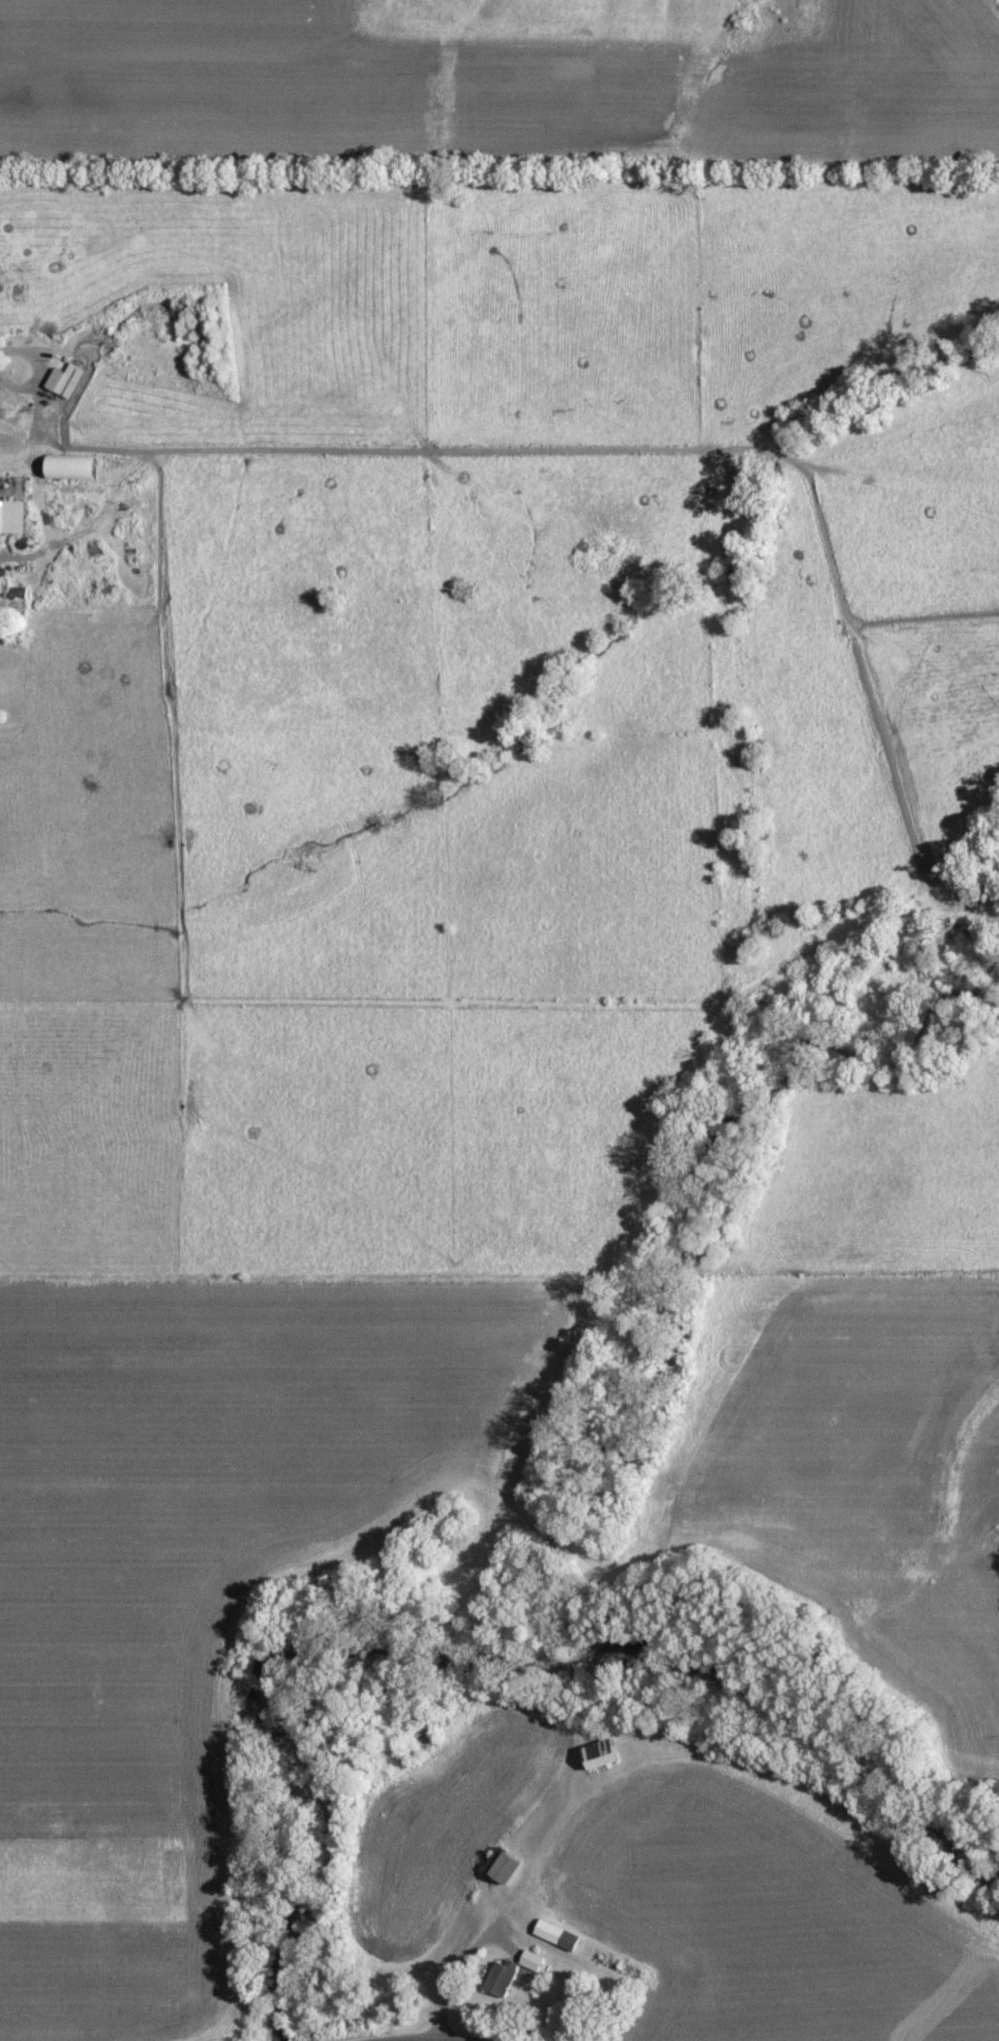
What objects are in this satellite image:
road: (37, 367)
building: (66, 381)
building: (71, 468)
building: (12, 518)
building: (602, 1755)
building: (508, 1868)
building: (558, 1936)
building: (533, 1961)
building: (502, 1980)
road: (525, 2008)
road: (2, 2039)

